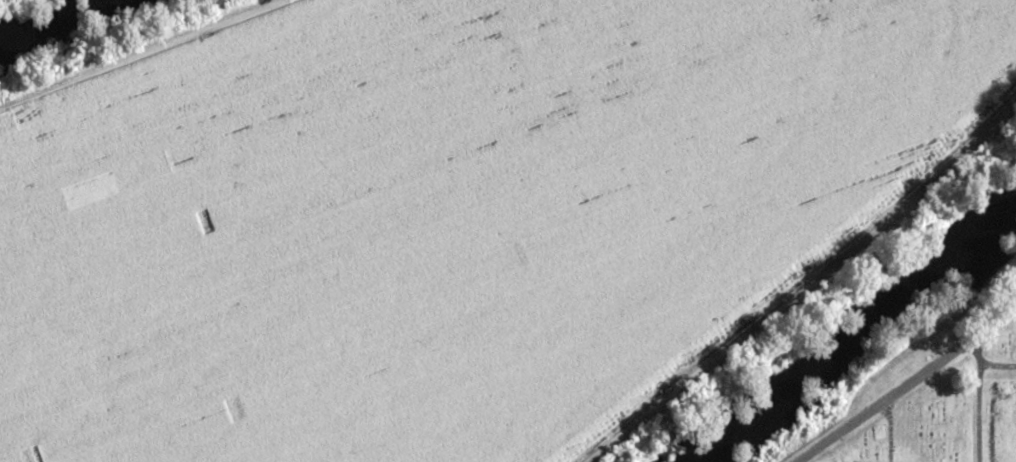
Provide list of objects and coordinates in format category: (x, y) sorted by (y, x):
river: (28, 9)
river: (860, 330)
road: (912, 381)

